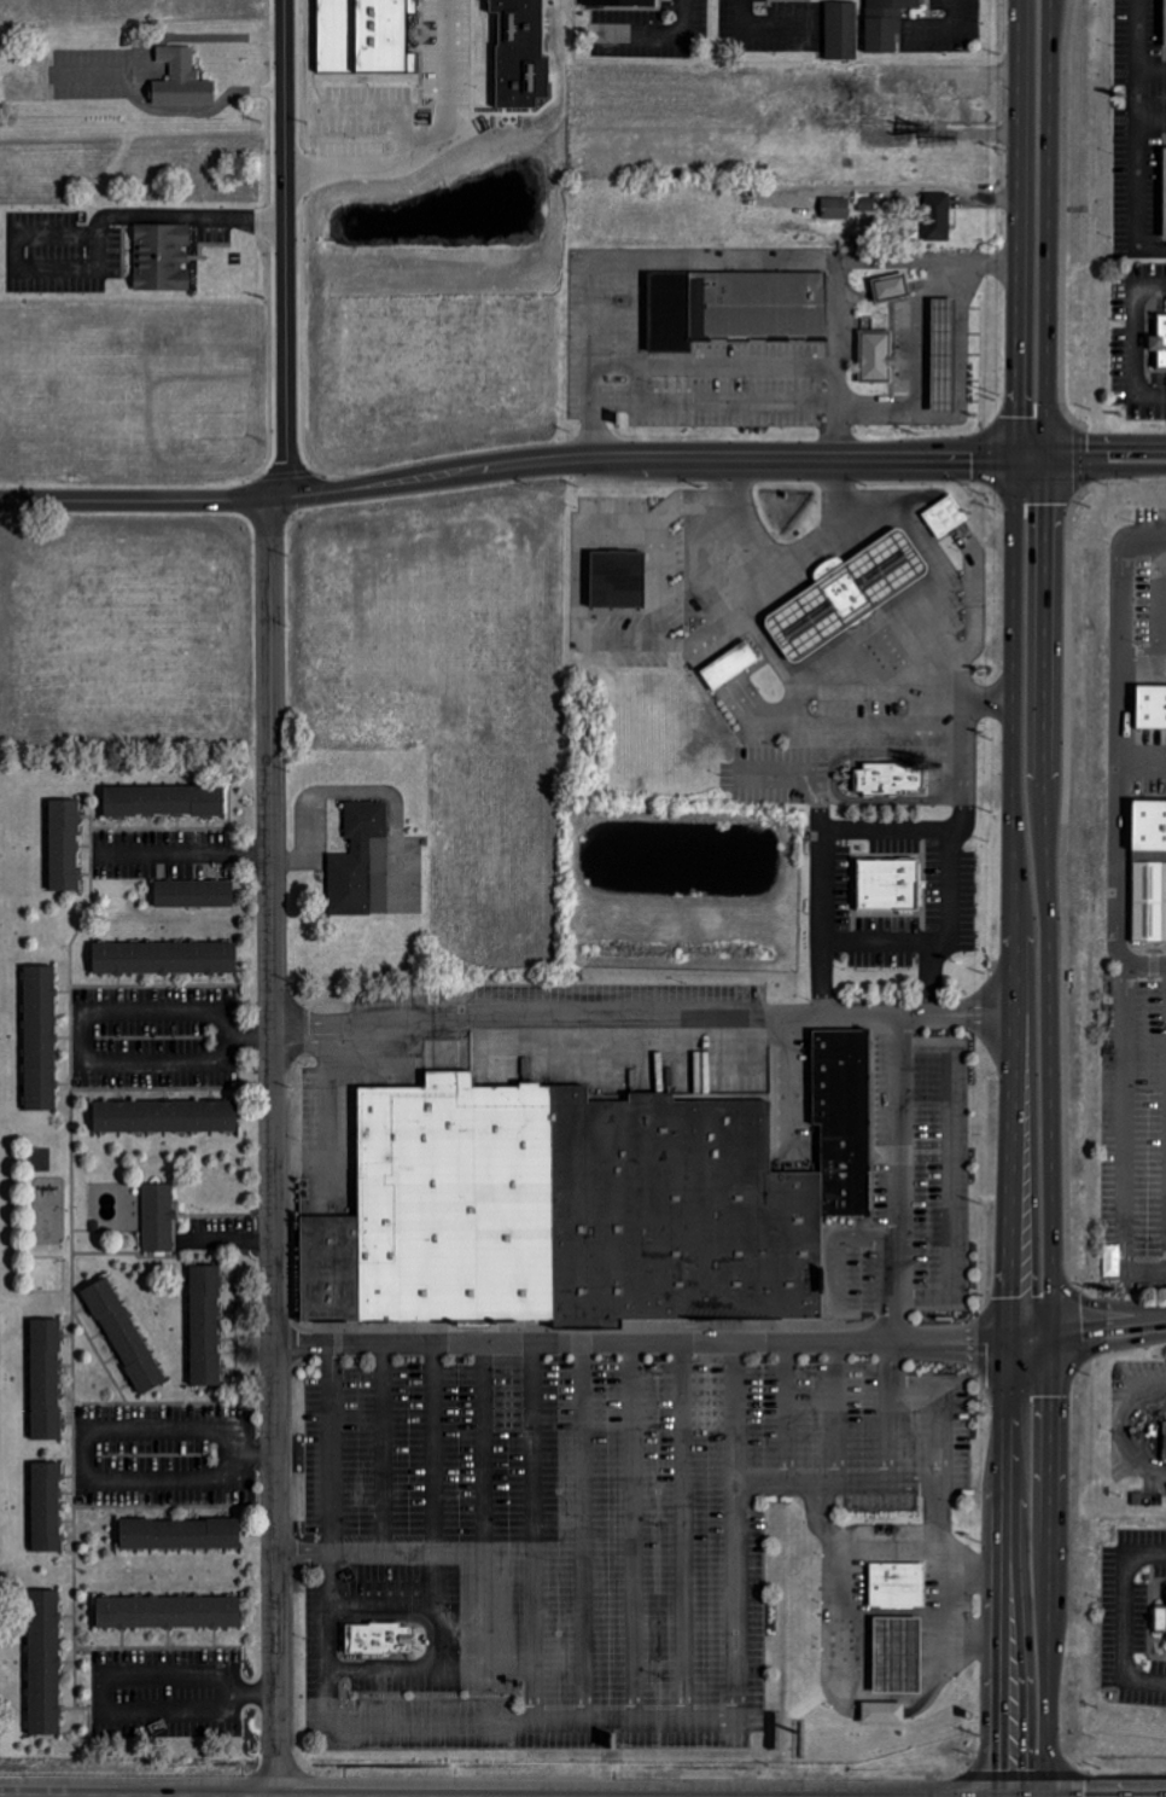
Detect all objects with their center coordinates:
building: (619, 2)
building: (886, 23)
building: (1165, 23)
road: (935, 24)
road: (771, 27)
building: (843, 30)
road: (660, 33)
building: (365, 36)
building: (520, 53)
road: (1149, 66)
building: (182, 80)
road: (1149, 117)
road: (1133, 138)
road: (426, 147)
building: (1161, 188)
building: (836, 208)
road: (163, 216)
building: (938, 216)
road: (1016, 227)
road: (1047, 228)
road: (275, 249)
building: (163, 257)
building: (891, 286)
building: (734, 306)
road: (1132, 338)
building: (1156, 339)
road: (925, 342)
building: (944, 351)
building: (875, 355)
road: (716, 365)
road: (1104, 447)
traffic signals: (1014, 455)
road: (1028, 455)
traffic signals: (1045, 456)
road: (506, 467)
road: (1104, 467)
building: (944, 516)
road: (792, 556)
building: (618, 580)
building: (846, 592)
road: (940, 601)
road: (1153, 615)
building: (730, 664)
road: (803, 685)
building: (1148, 705)
road: (1115, 733)
road: (900, 750)
building: (888, 778)
building: (164, 799)
road: (301, 807)
building: (1147, 821)
road: (950, 826)
building: (65, 844)
road: (818, 844)
road: (186, 851)
building: (355, 856)
building: (891, 884)
building: (193, 892)
building: (1148, 900)
road: (871, 940)
building: (165, 956)
road: (1145, 960)
road: (643, 1025)
building: (40, 1036)
road: (84, 1053)
building: (165, 1115)
building: (844, 1123)
road: (1015, 1126)
road: (1049, 1126)
parking lot: (1133, 1129)
road: (1127, 1138)
road: (273, 1148)
road: (960, 1181)
building: (577, 1205)
building: (157, 1216)
building: (49, 1220)
road: (229, 1240)
road: (896, 1255)
road: (845, 1256)
building: (332, 1267)
building: (206, 1324)
building: (123, 1334)
road: (721, 1343)
building: (47, 1378)
road: (794, 1417)
road: (843, 1417)
road: (84, 1430)
building: (1162, 1440)
road: (386, 1454)
parking lot: (631, 1490)
road: (841, 1491)
building: (47, 1506)
road: (439, 1511)
road: (488, 1511)
road: (943, 1511)
building: (181, 1533)
road: (590, 1536)
road: (640, 1536)
road: (689, 1536)
road: (538, 1537)
road: (893, 1551)
road: (356, 1562)
building: (898, 1584)
building: (170, 1612)
road: (386, 1615)
road: (1119, 1617)
building: (1165, 1623)
building: (375, 1639)
building: (899, 1654)
gas station: (899, 1654)
building: (45, 1662)
road: (435, 1677)
road: (843, 1682)
road: (110, 1709)
building: (884, 1712)
road: (536, 1731)
traffic signals: (1001, 1763)

